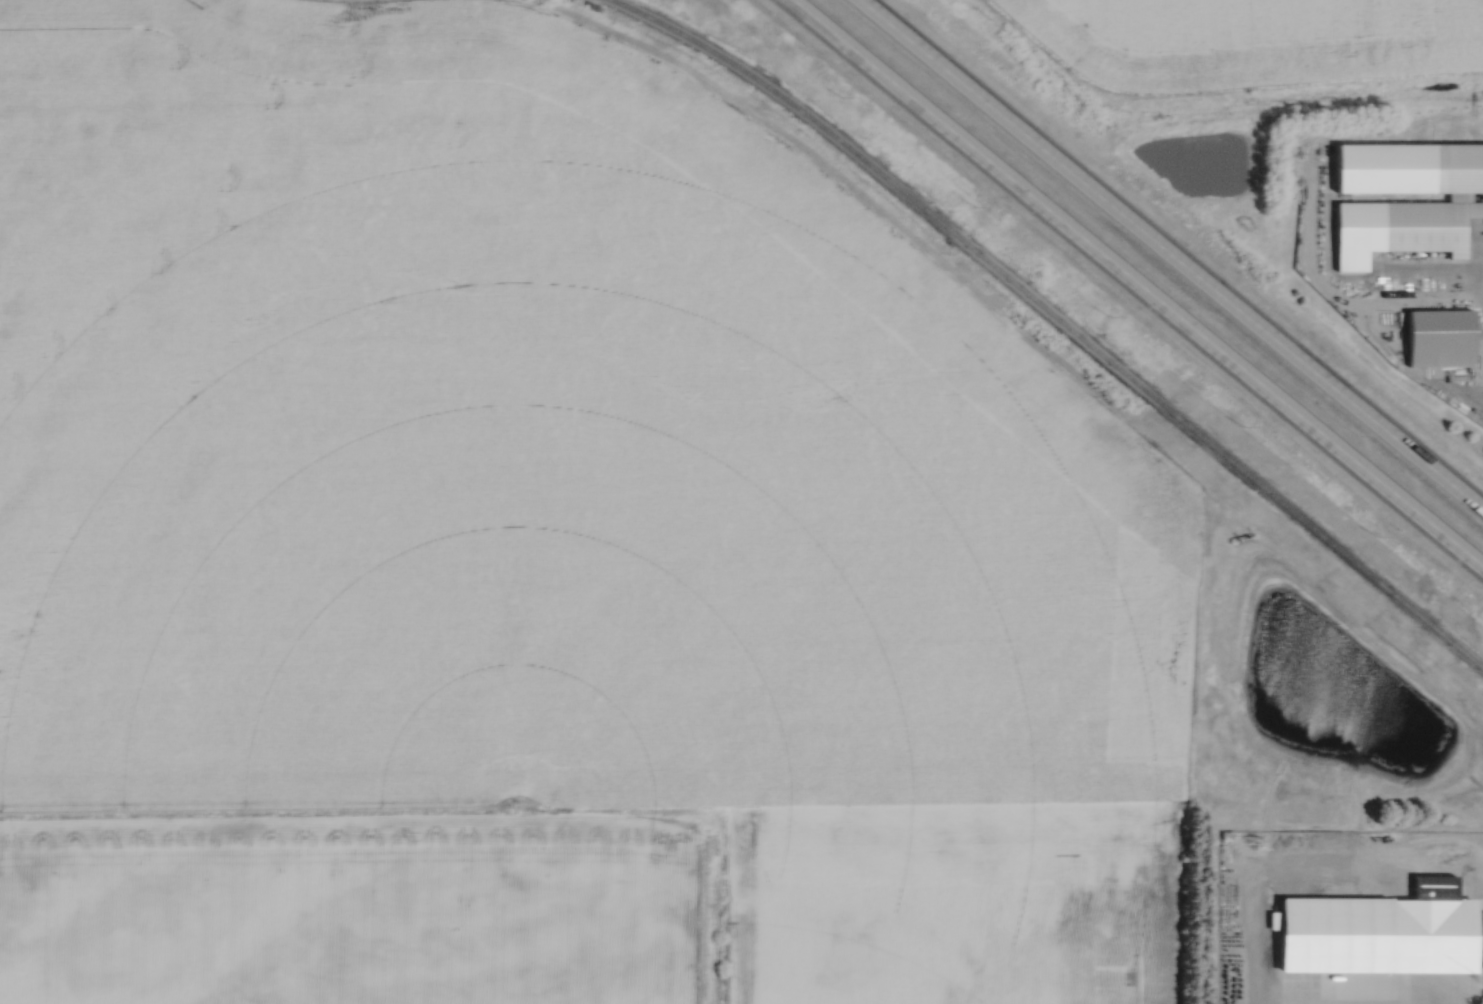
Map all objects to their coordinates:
building: (1440, 206)
road: (1170, 256)
road: (1131, 288)
railway: (1052, 311)
building: (1441, 340)
building: (1435, 929)

